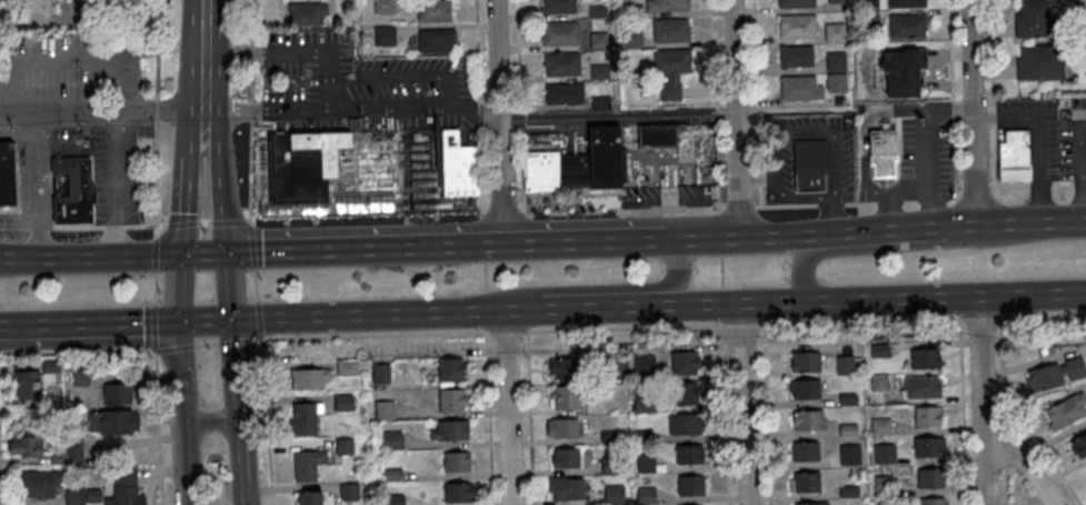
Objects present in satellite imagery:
building: (835, 0)
building: (795, 3)
building: (868, 3)
building: (906, 3)
building: (670, 6)
building: (385, 7)
building: (558, 7)
building: (435, 10)
building: (597, 12)
building: (306, 16)
building: (1033, 19)
building: (797, 27)
building: (908, 27)
building: (671, 31)
building: (561, 33)
building: (835, 34)
building: (386, 36)
building: (631, 40)
building: (436, 41)
building: (597, 41)
road: (252, 50)
road: (292, 51)
building: (796, 57)
road: (202, 59)
road: (60, 60)
road: (714, 60)
building: (672, 61)
building: (836, 62)
building: (1040, 63)
building: (562, 65)
building: (901, 71)
building: (837, 82)
building: (800, 89)
road: (993, 92)
building: (562, 94)
road: (953, 99)
road: (757, 102)
road: (351, 105)
road: (520, 107)
road: (480, 109)
road: (100, 110)
road: (252, 112)
road: (970, 113)
road: (617, 114)
road: (156, 117)
road: (734, 118)
road: (501, 121)
road: (861, 133)
building: (655, 134)
road: (779, 135)
road: (197, 137)
road: (1038, 139)
building: (881, 151)
building: (1014, 155)
road: (925, 156)
building: (592, 161)
road: (1083, 161)
building: (302, 163)
road: (718, 163)
building: (459, 165)
building: (809, 165)
building: (541, 170)
road: (250, 171)
building: (7, 173)
road: (117, 183)
road: (220, 183)
road: (1037, 183)
road: (38, 184)
road: (974, 189)
building: (71, 190)
road: (929, 200)
building: (363, 202)
road: (181, 204)
road: (604, 210)
road: (837, 216)
road: (228, 221)
road: (180, 223)
road: (203, 223)
road: (79, 226)
road: (525, 229)
road: (719, 229)
road: (874, 231)
road: (482, 241)
road: (541, 241)
road: (252, 244)
road: (878, 248)
road: (322, 249)
road: (155, 252)
traffic signals: (227, 253)
road: (201, 254)
traffic signals: (176, 255)
road: (88, 256)
road: (3, 260)
road: (671, 276)
road: (486, 277)
road: (227, 286)
road: (256, 286)
road: (176, 289)
road: (865, 296)
road: (592, 305)
road: (522, 309)
road: (486, 311)
road: (367, 315)
road: (260, 320)
traffic signals: (230, 321)
road: (202, 322)
road: (861, 322)
traffic signals: (175, 323)
road: (744, 325)
road: (87, 327)
road: (626, 329)
road: (508, 333)
road: (375, 337)
road: (239, 342)
road: (207, 345)
road: (176, 350)
road: (78, 353)
building: (924, 357)
building: (804, 361)
building: (685, 362)
building: (642, 363)
building: (844, 364)
building: (347, 367)
building: (564, 367)
building: (451, 371)
building: (608, 372)
building: (1055, 374)
building: (310, 378)
road: (724, 378)
building: (27, 385)
building: (921, 386)
road: (156, 387)
building: (803, 388)
building: (117, 393)
building: (685, 393)
building: (565, 397)
road: (984, 398)
building: (452, 400)
building: (343, 402)
road: (743, 403)
road: (506, 406)
building: (383, 410)
building: (1065, 411)
road: (237, 412)
road: (963, 412)
road: (180, 414)
road: (767, 415)
building: (927, 415)
building: (305, 417)
road: (489, 417)
road: (530, 418)
building: (806, 420)
road: (266, 421)
building: (112, 422)
road: (1019, 422)
road: (217, 423)
building: (684, 424)
building: (880, 425)
building: (562, 428)
building: (449, 430)
building: (392, 438)
building: (24, 445)
building: (1078, 445)
building: (928, 446)
building: (805, 451)
building: (687, 454)
building: (849, 454)
road: (1005, 454)
building: (566, 458)
road: (1019, 458)
building: (456, 462)
building: (307, 464)
building: (929, 477)
building: (804, 482)
building: (39, 484)
building: (691, 485)
road: (1005, 486)
building: (123, 488)
building: (566, 489)
building: (458, 492)
building: (614, 494)
building: (645, 495)
building: (309, 497)
building: (927, 501)
building: (810, 503)

